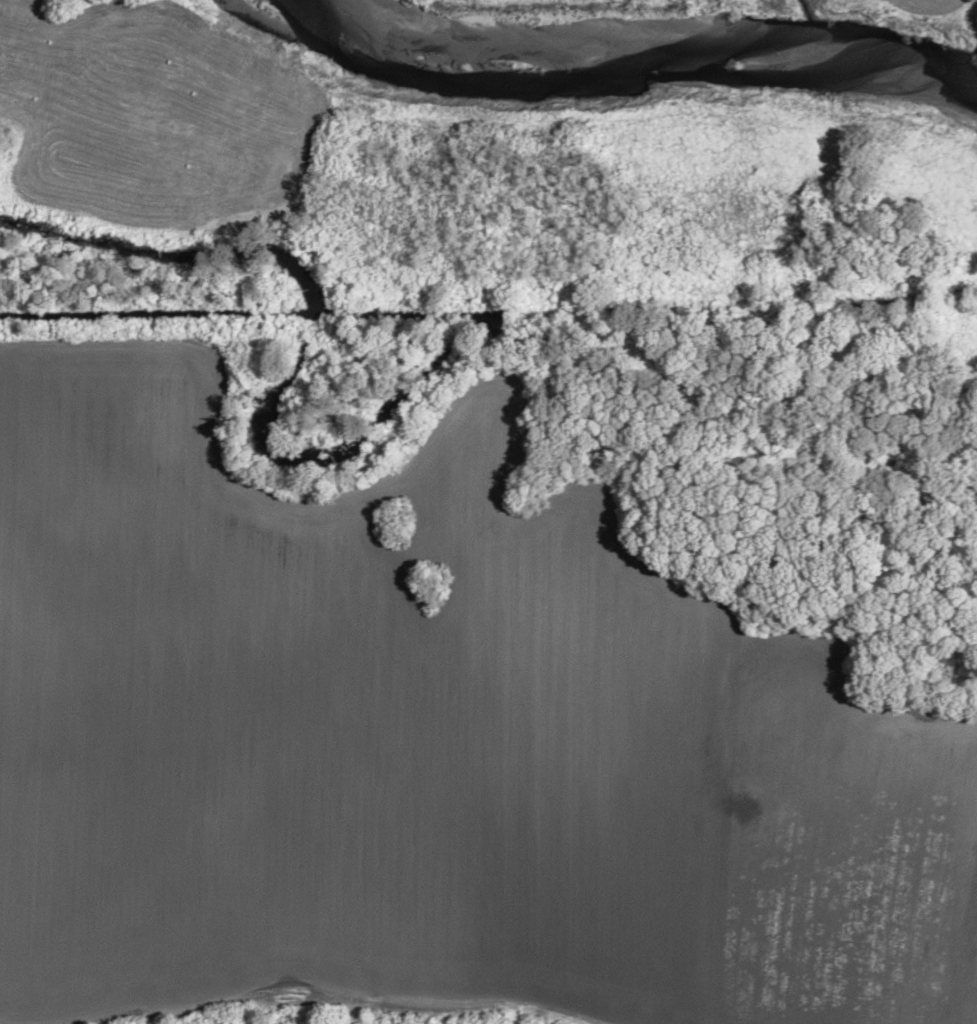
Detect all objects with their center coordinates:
river: (635, 50)

